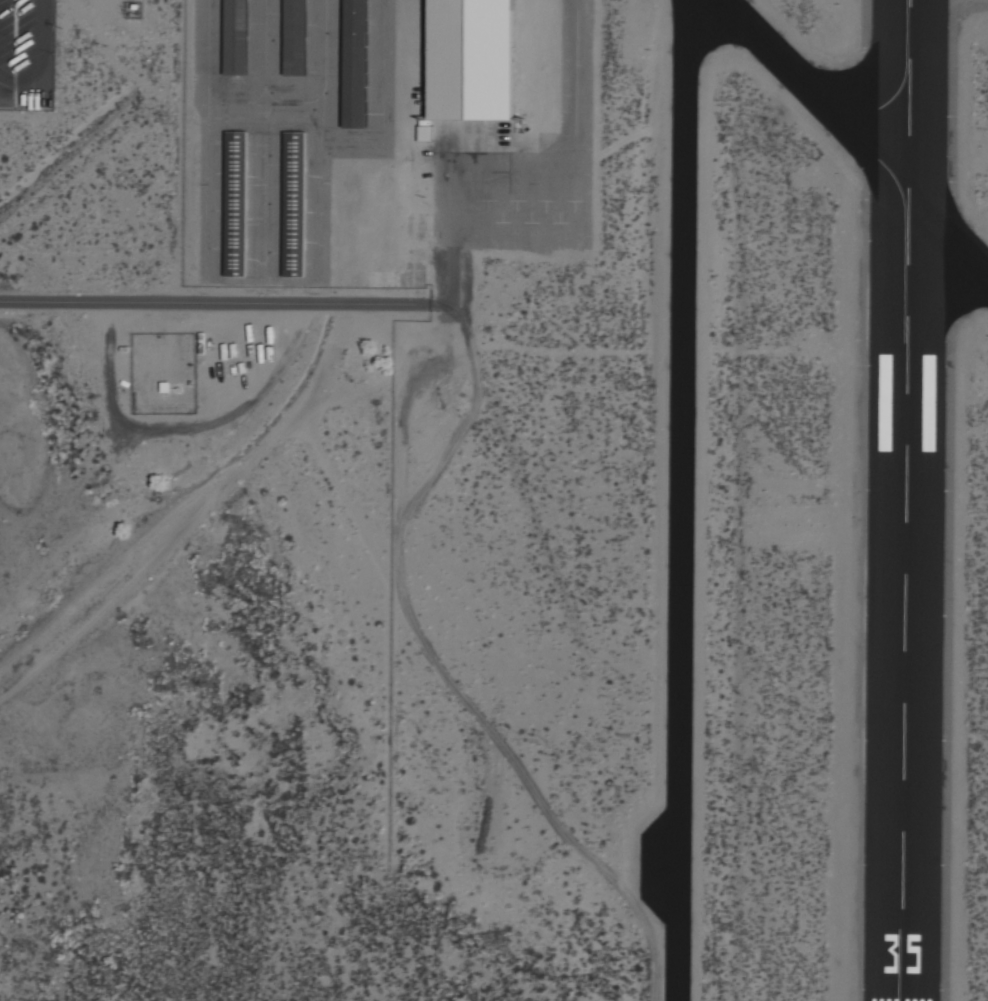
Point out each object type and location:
building: (233, 37)
building: (293, 38)
building: (472, 59)
road: (42, 62)
building: (355, 62)
airport taxiway: (848, 138)
building: (234, 202)
building: (292, 204)
road: (221, 302)
building: (925, 401)
airport taxiway: (679, 496)
airport: (494, 500)
airport runway: (905, 500)

